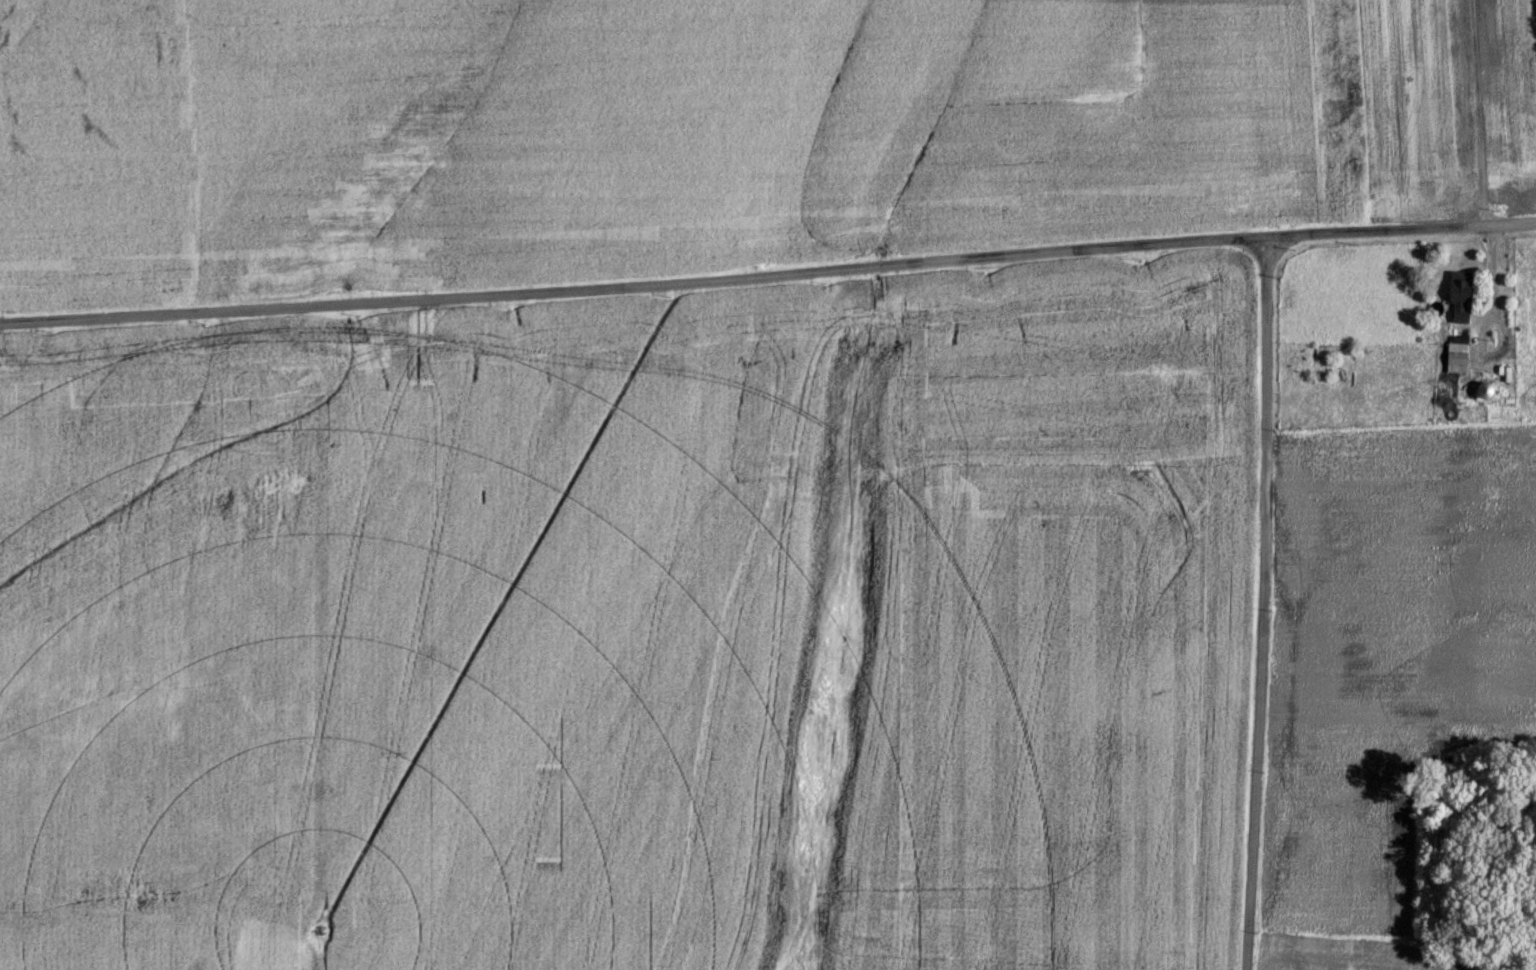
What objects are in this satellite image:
road: (1478, 111)
road: (768, 275)
road: (1485, 320)
road: (1260, 603)

